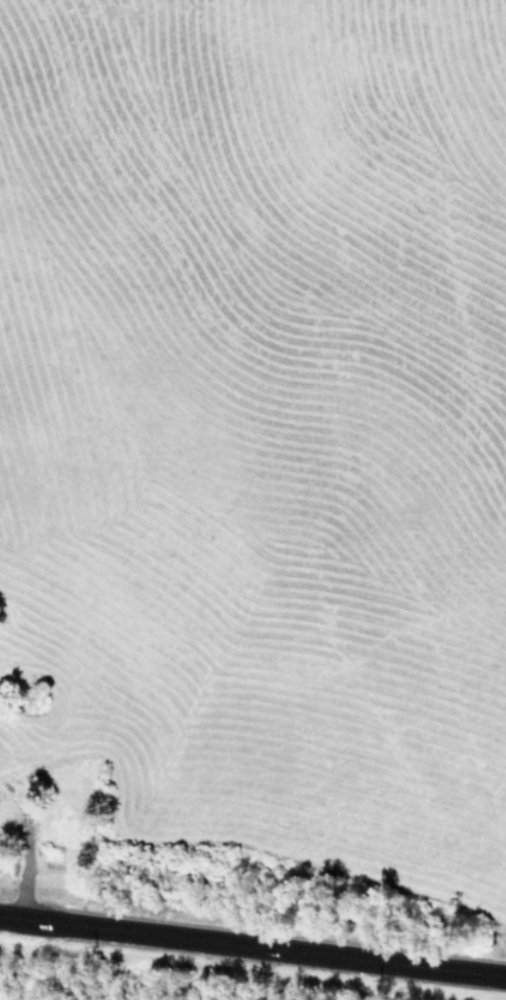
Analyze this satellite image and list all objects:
crop: (255, 455)
road: (253, 942)
crop: (147, 983)

